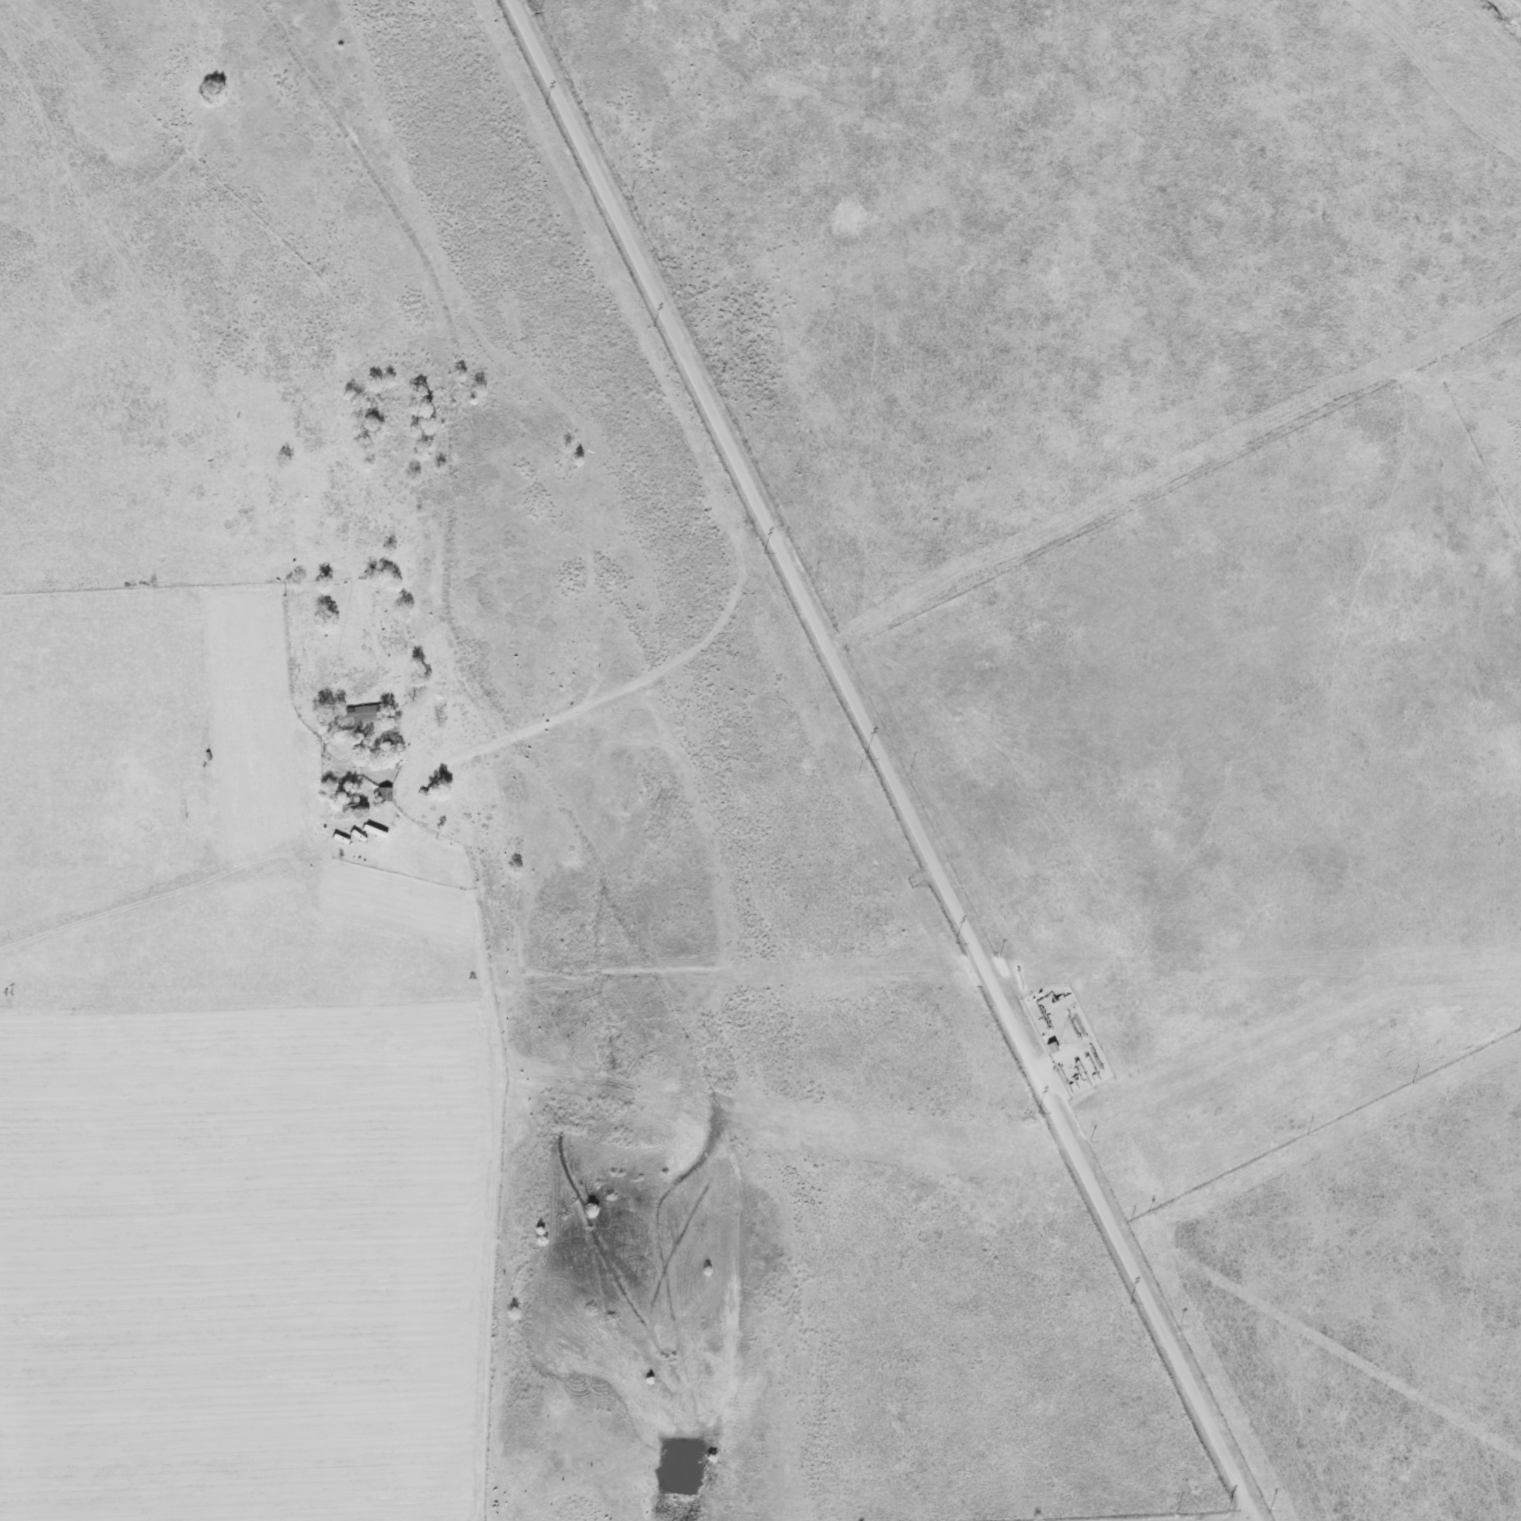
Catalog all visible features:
road: (881, 760)
building: (382, 794)
building: (342, 799)
road: (492, 1139)

